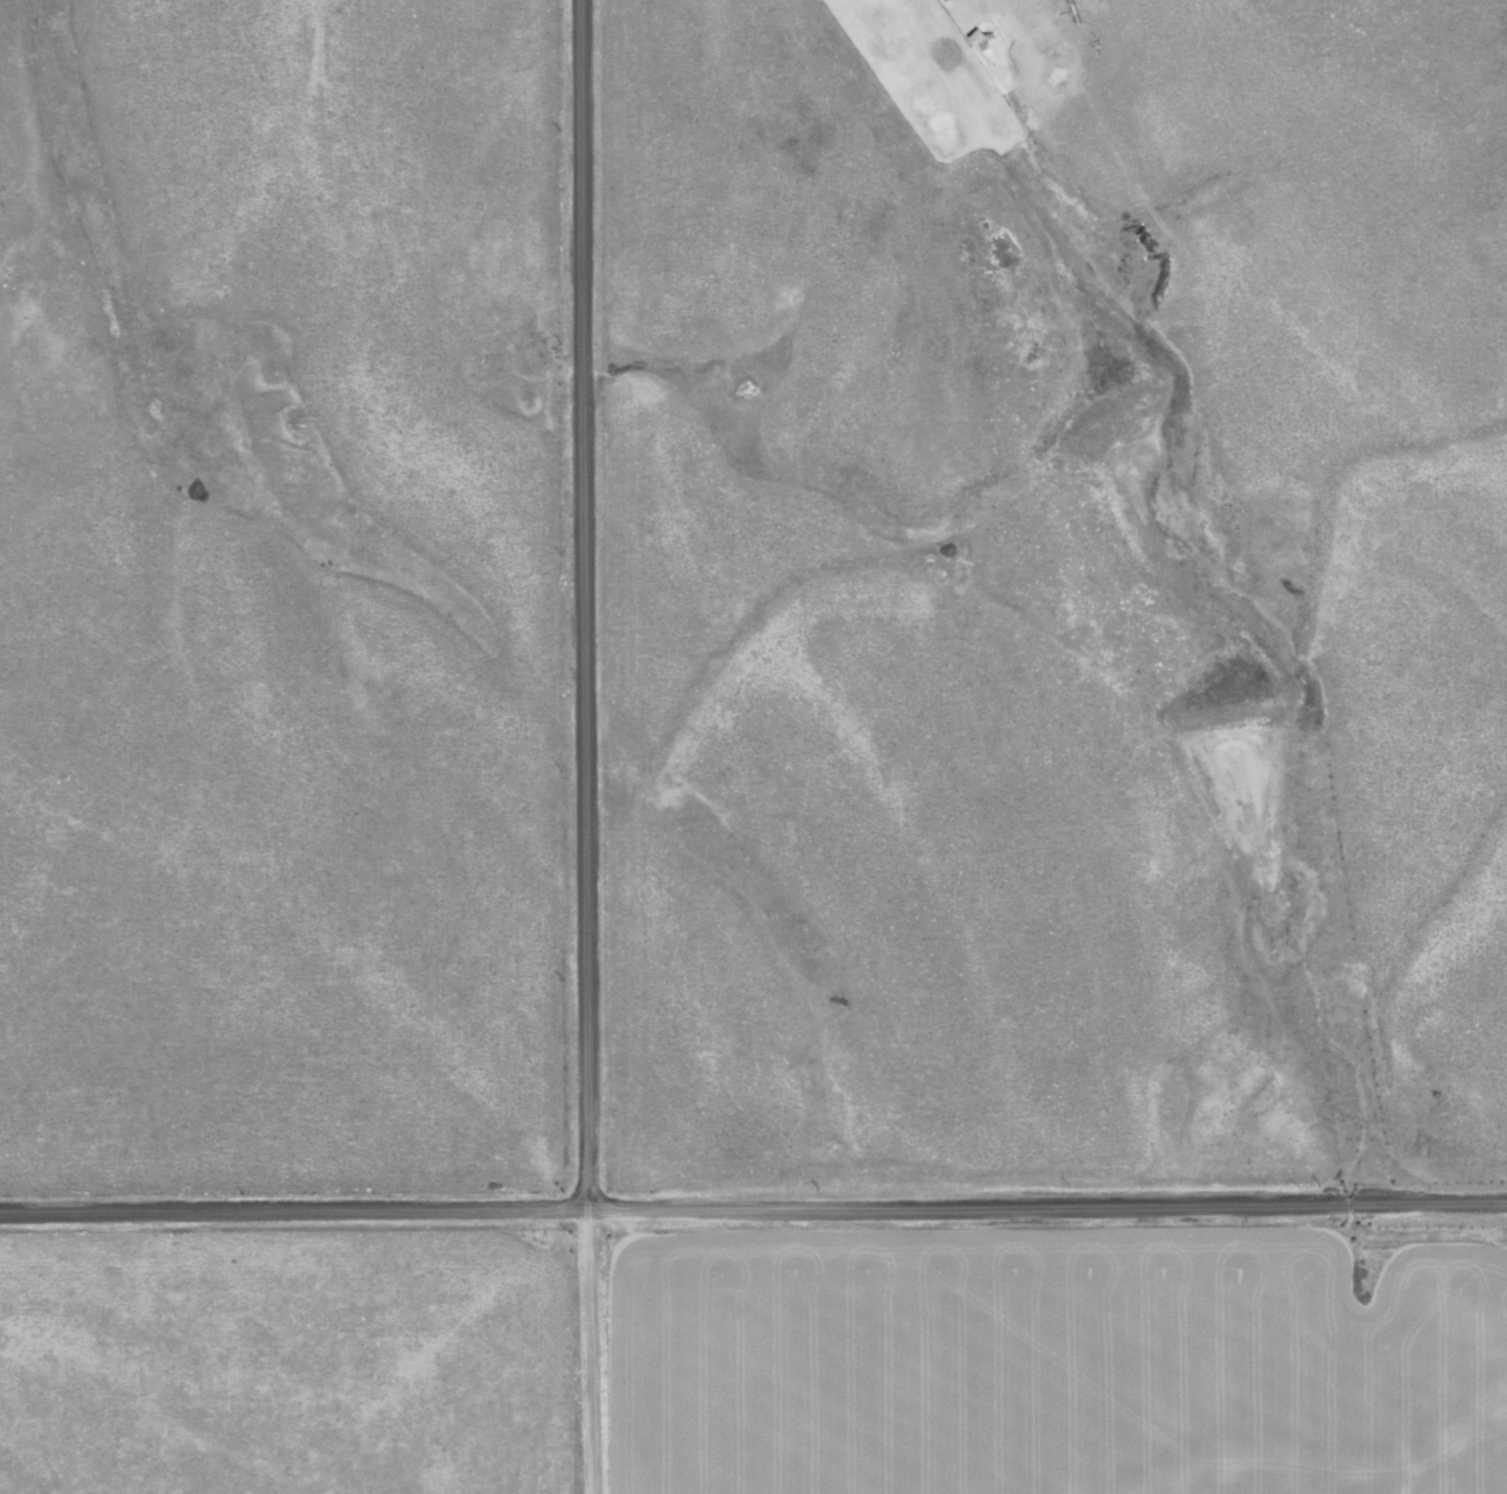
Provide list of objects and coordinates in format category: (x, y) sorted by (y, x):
road: (582, 604)
road: (753, 1207)
road: (587, 1351)
crop: (1070, 1369)

